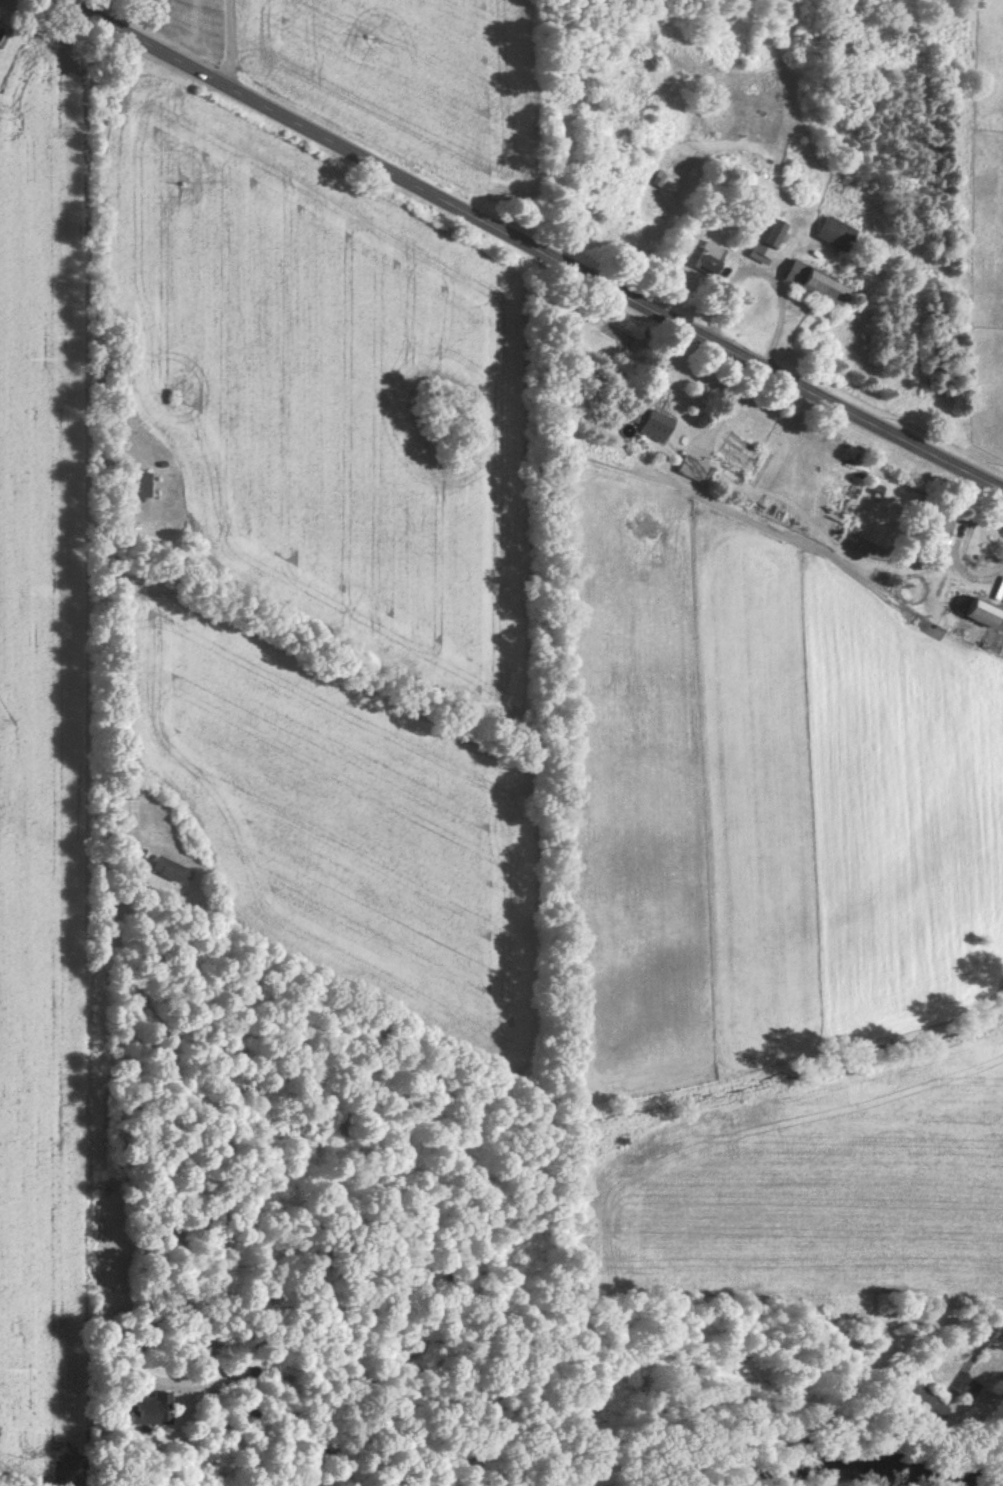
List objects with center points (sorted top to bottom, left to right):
road: (197, 35)
building: (770, 235)
building: (835, 236)
road: (532, 245)
building: (704, 260)
building: (821, 289)
building: (631, 416)
building: (654, 428)
building: (691, 470)
building: (137, 488)
building: (938, 528)
building: (981, 614)
building: (123, 815)
building: (169, 872)
road: (949, 1394)
building: (922, 1405)
building: (148, 1411)
building: (245, 1413)
river: (832, 1481)

